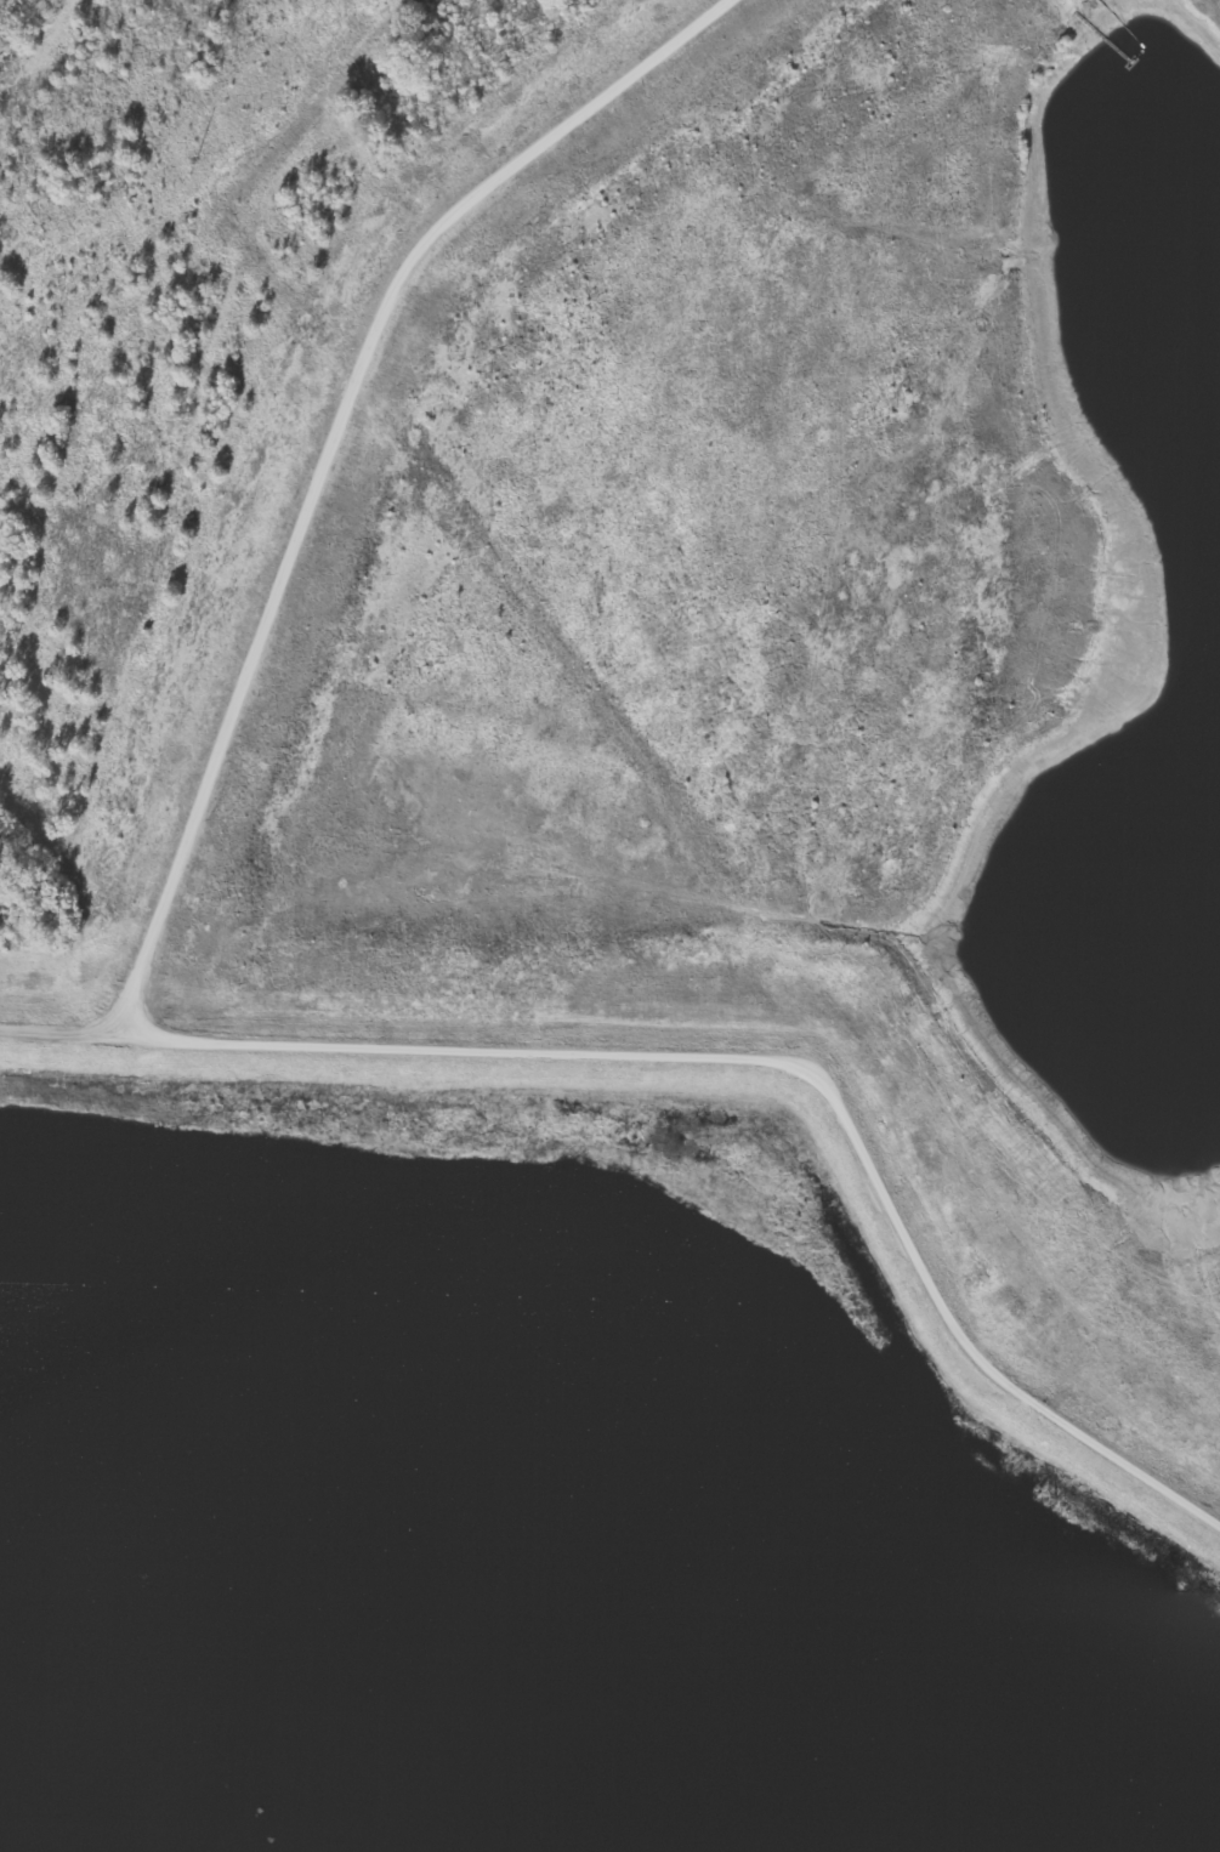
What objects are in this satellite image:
quarry: (637, 968)

